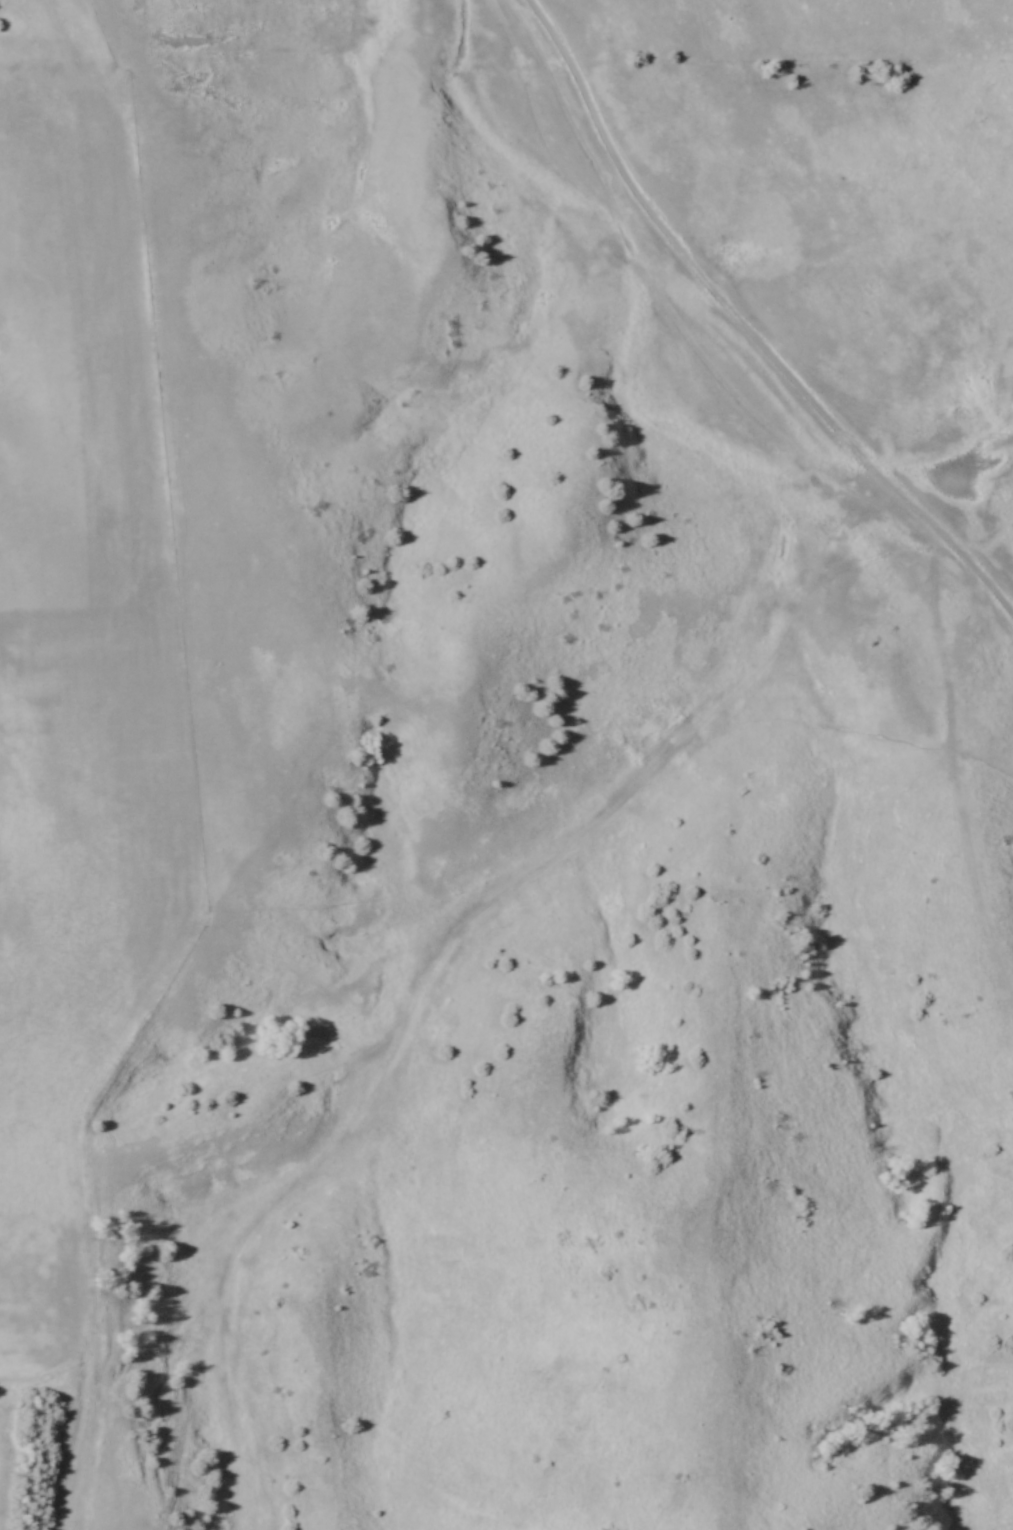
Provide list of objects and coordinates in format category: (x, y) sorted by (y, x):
road: (751, 329)

